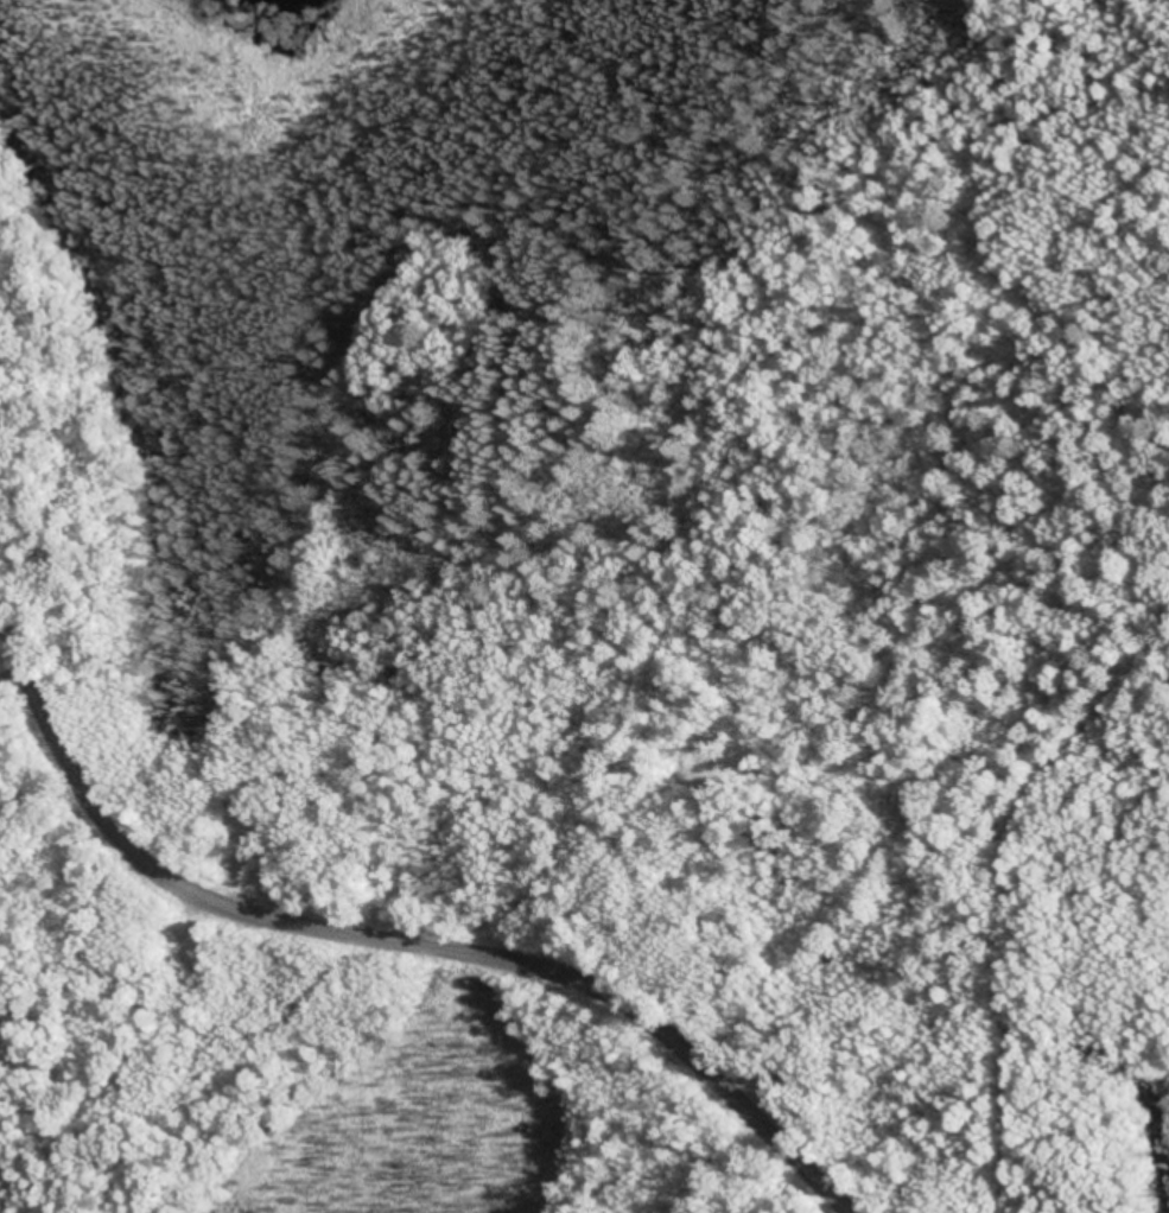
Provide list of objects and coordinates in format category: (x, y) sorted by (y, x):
road: (388, 941)
building: (6, 1059)

